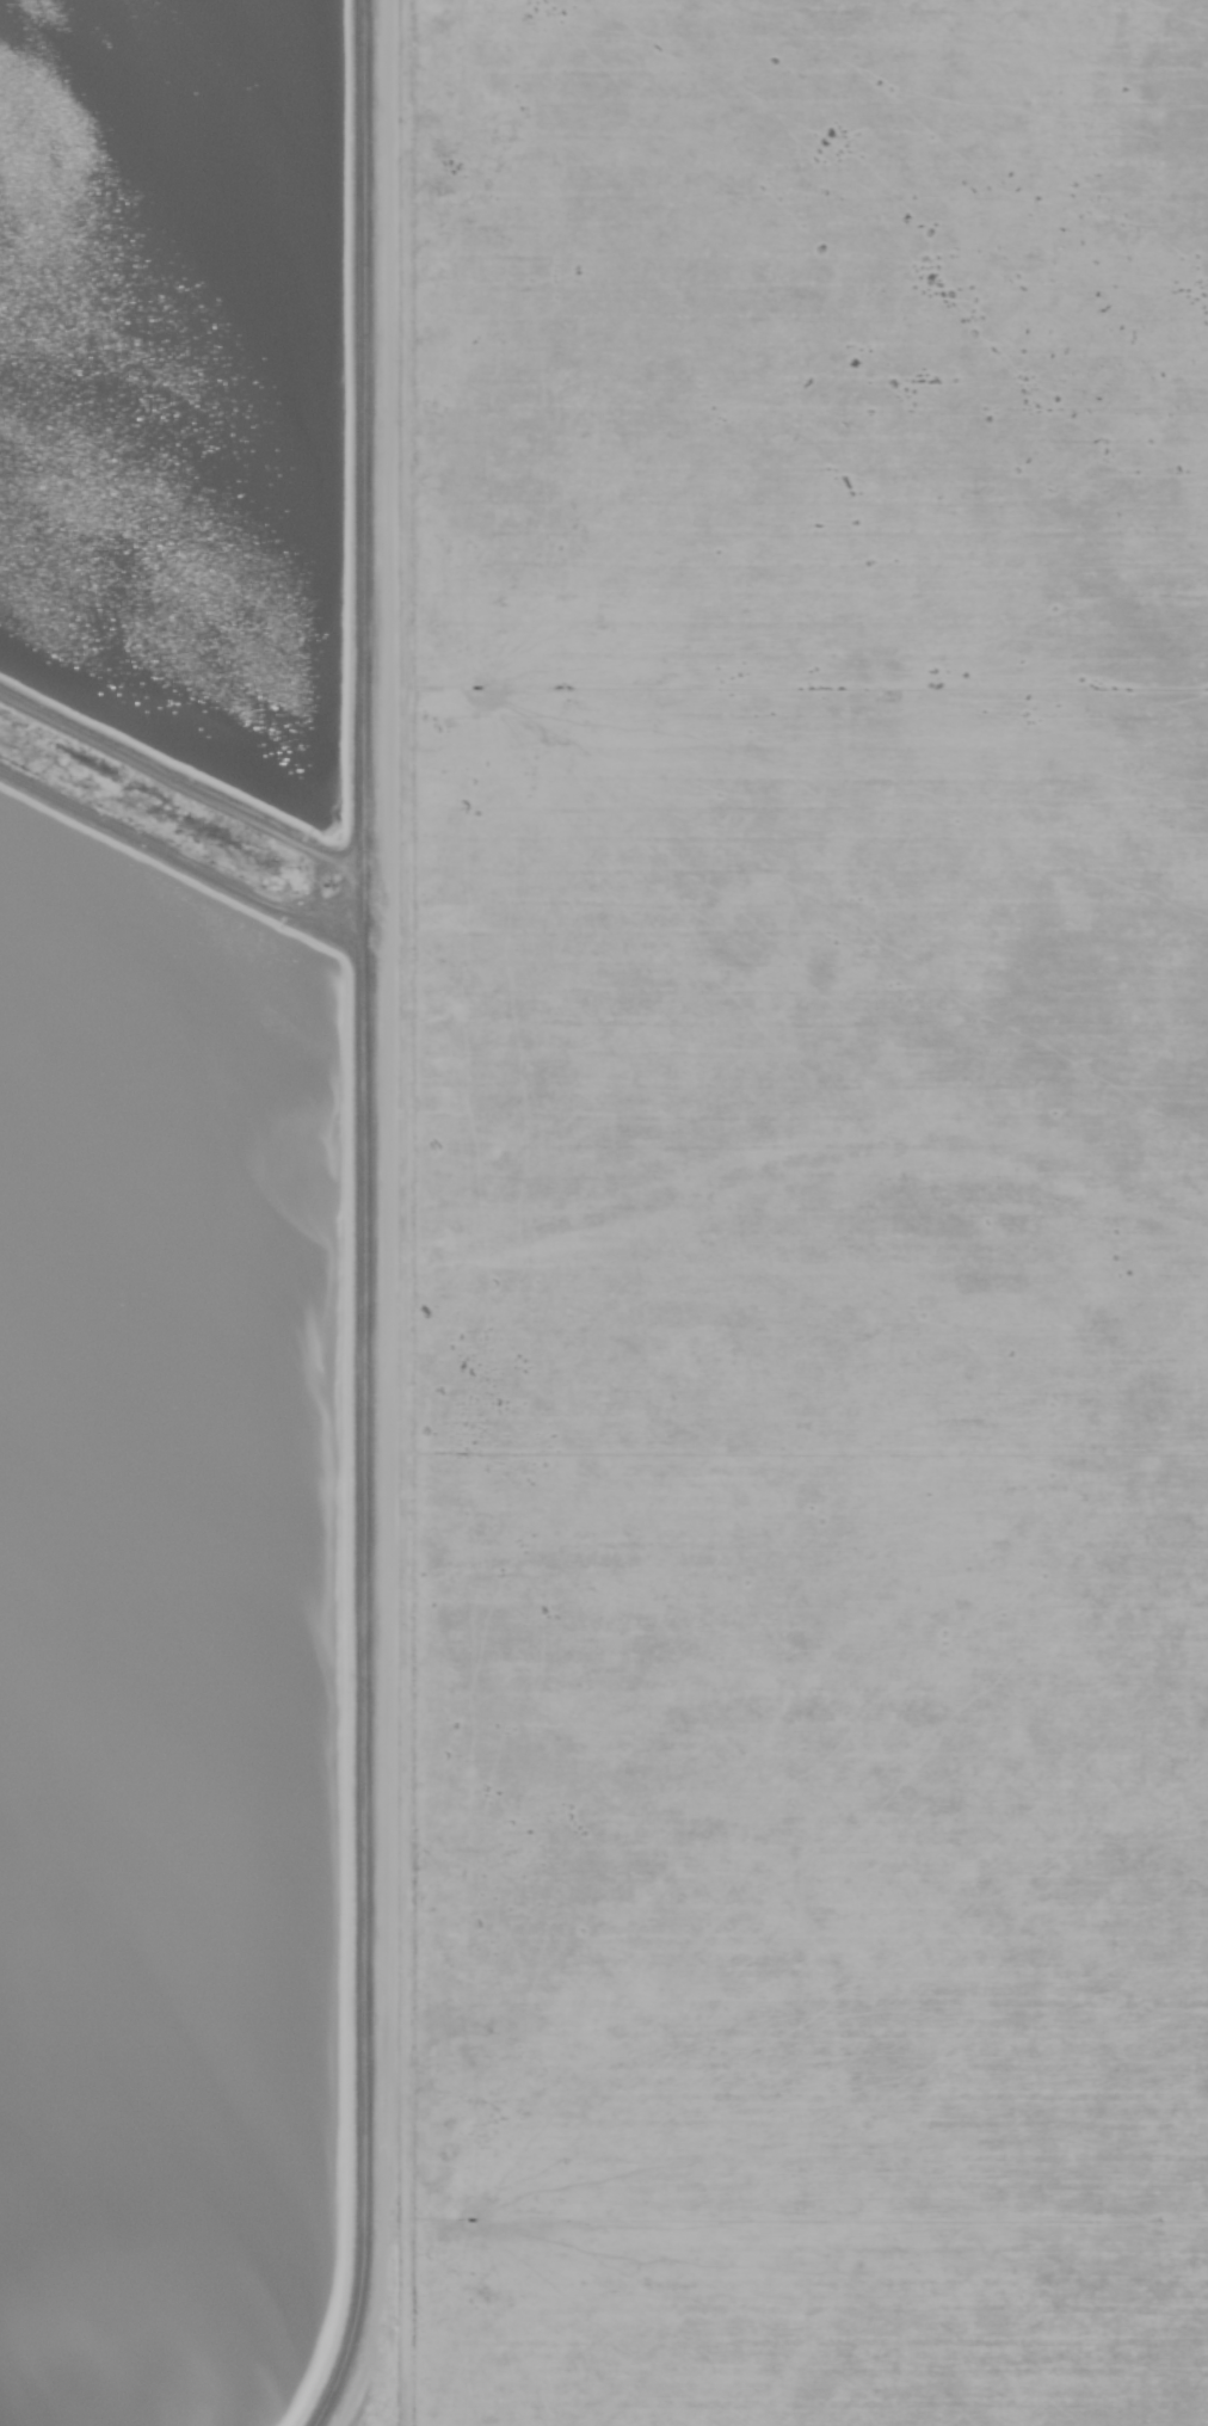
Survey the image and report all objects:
crop: (805, 1218)

